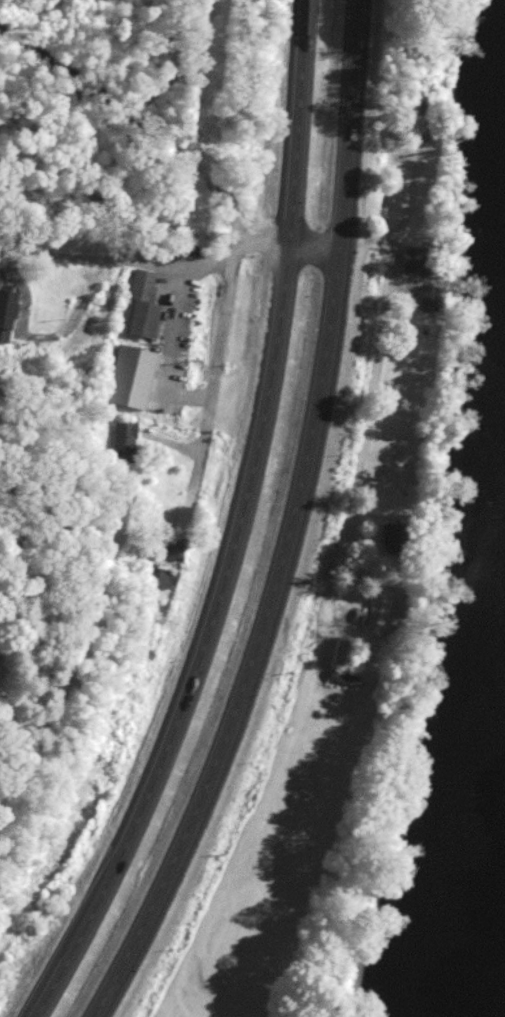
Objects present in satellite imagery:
road: (352, 123)
road: (177, 149)
road: (414, 189)
road: (122, 257)
building: (420, 259)
building: (431, 295)
building: (143, 305)
building: (7, 312)
road: (171, 345)
building: (134, 375)
road: (375, 376)
road: (215, 382)
building: (124, 438)
road: (238, 527)
building: (396, 537)
building: (381, 613)
road: (93, 617)
road: (250, 642)
building: (344, 650)
river: (470, 842)

